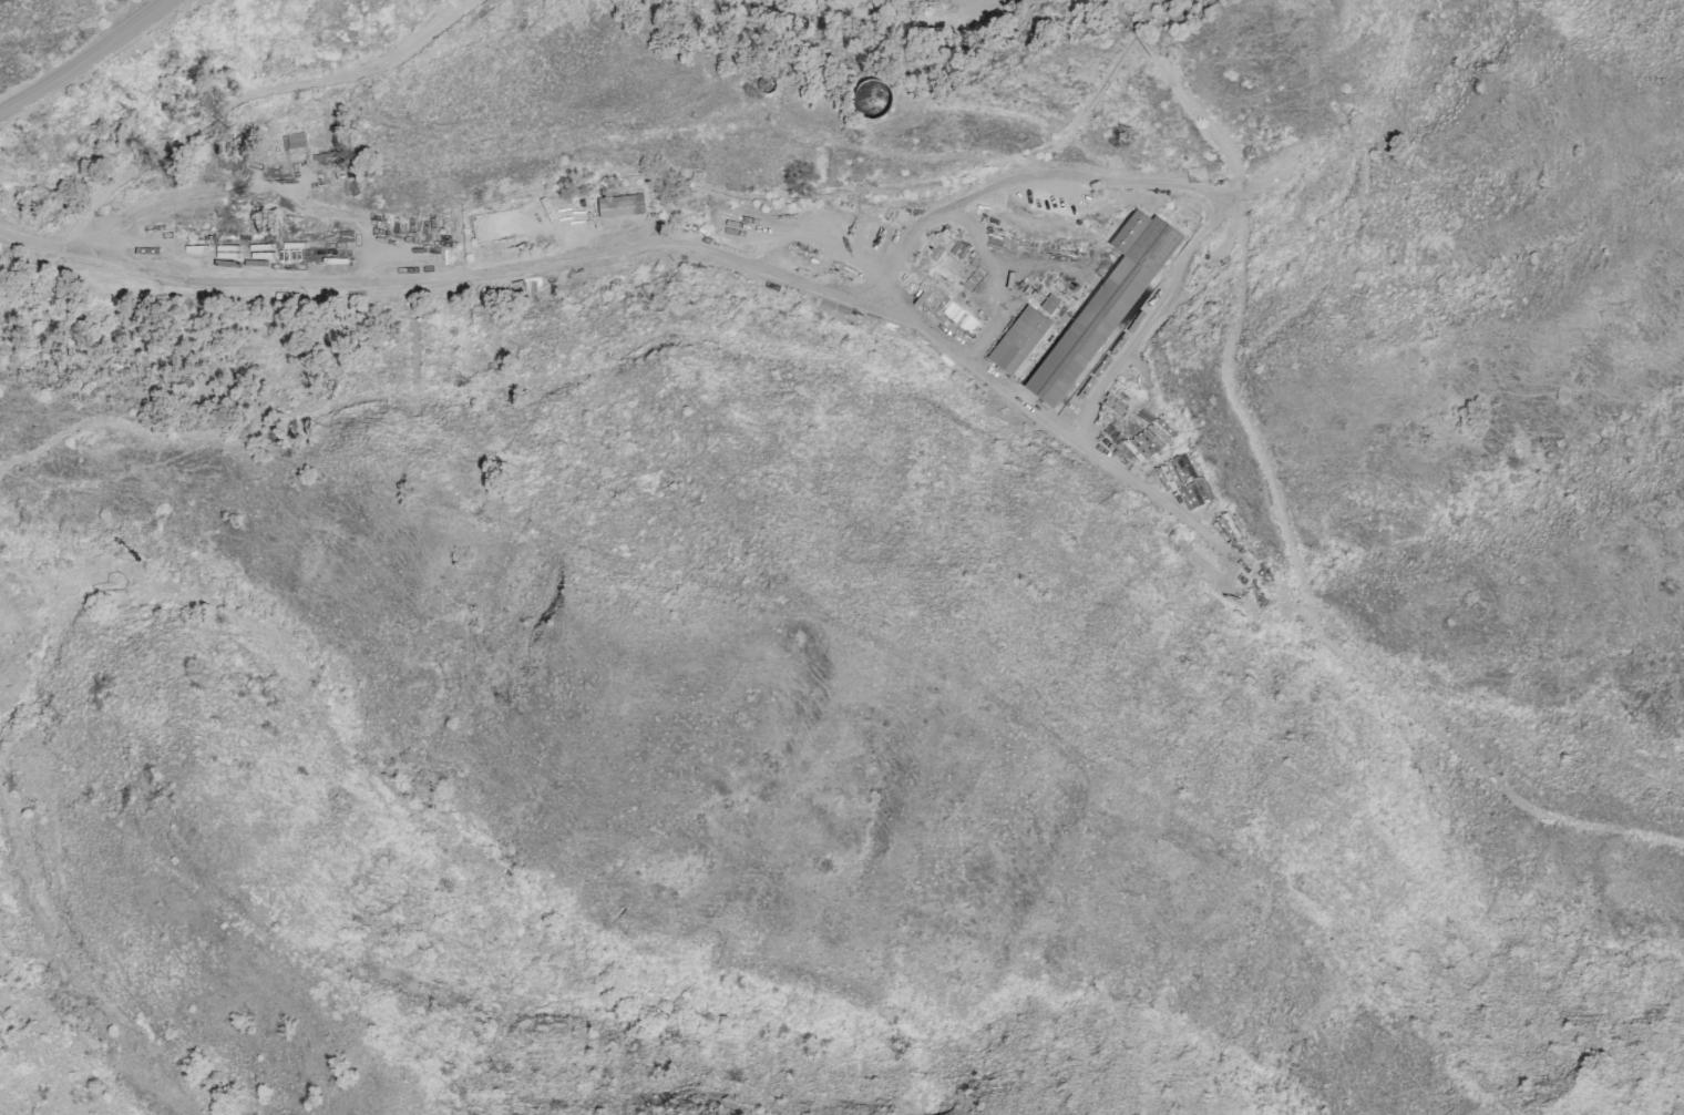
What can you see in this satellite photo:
road: (86, 60)
building: (292, 141)
road: (1157, 182)
road: (663, 242)
building: (1103, 306)
building: (1018, 340)
building: (1177, 470)

